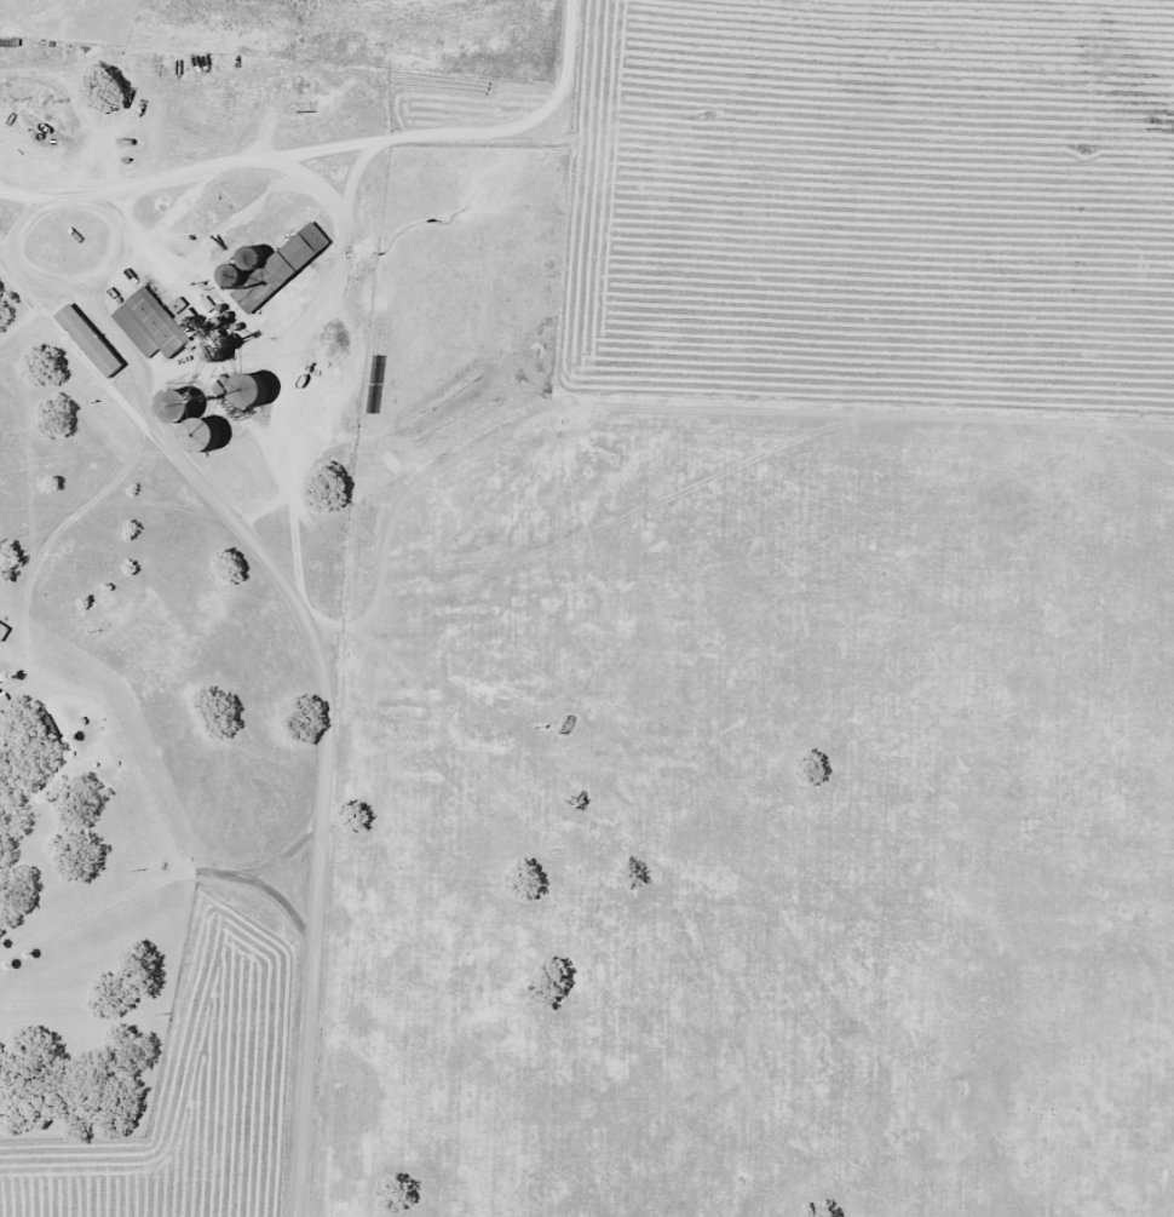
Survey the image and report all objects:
road: (565, 85)
road: (248, 157)
road: (350, 178)
road: (24, 220)
road: (116, 251)
building: (281, 266)
road: (35, 311)
building: (151, 325)
road: (318, 331)
building: (88, 340)
building: (175, 407)
road: (62, 524)
road: (254, 544)
building: (2, 631)
building: (46, 730)
building: (5, 733)
road: (121, 733)
road: (287, 850)
road: (160, 882)
road: (305, 1072)

